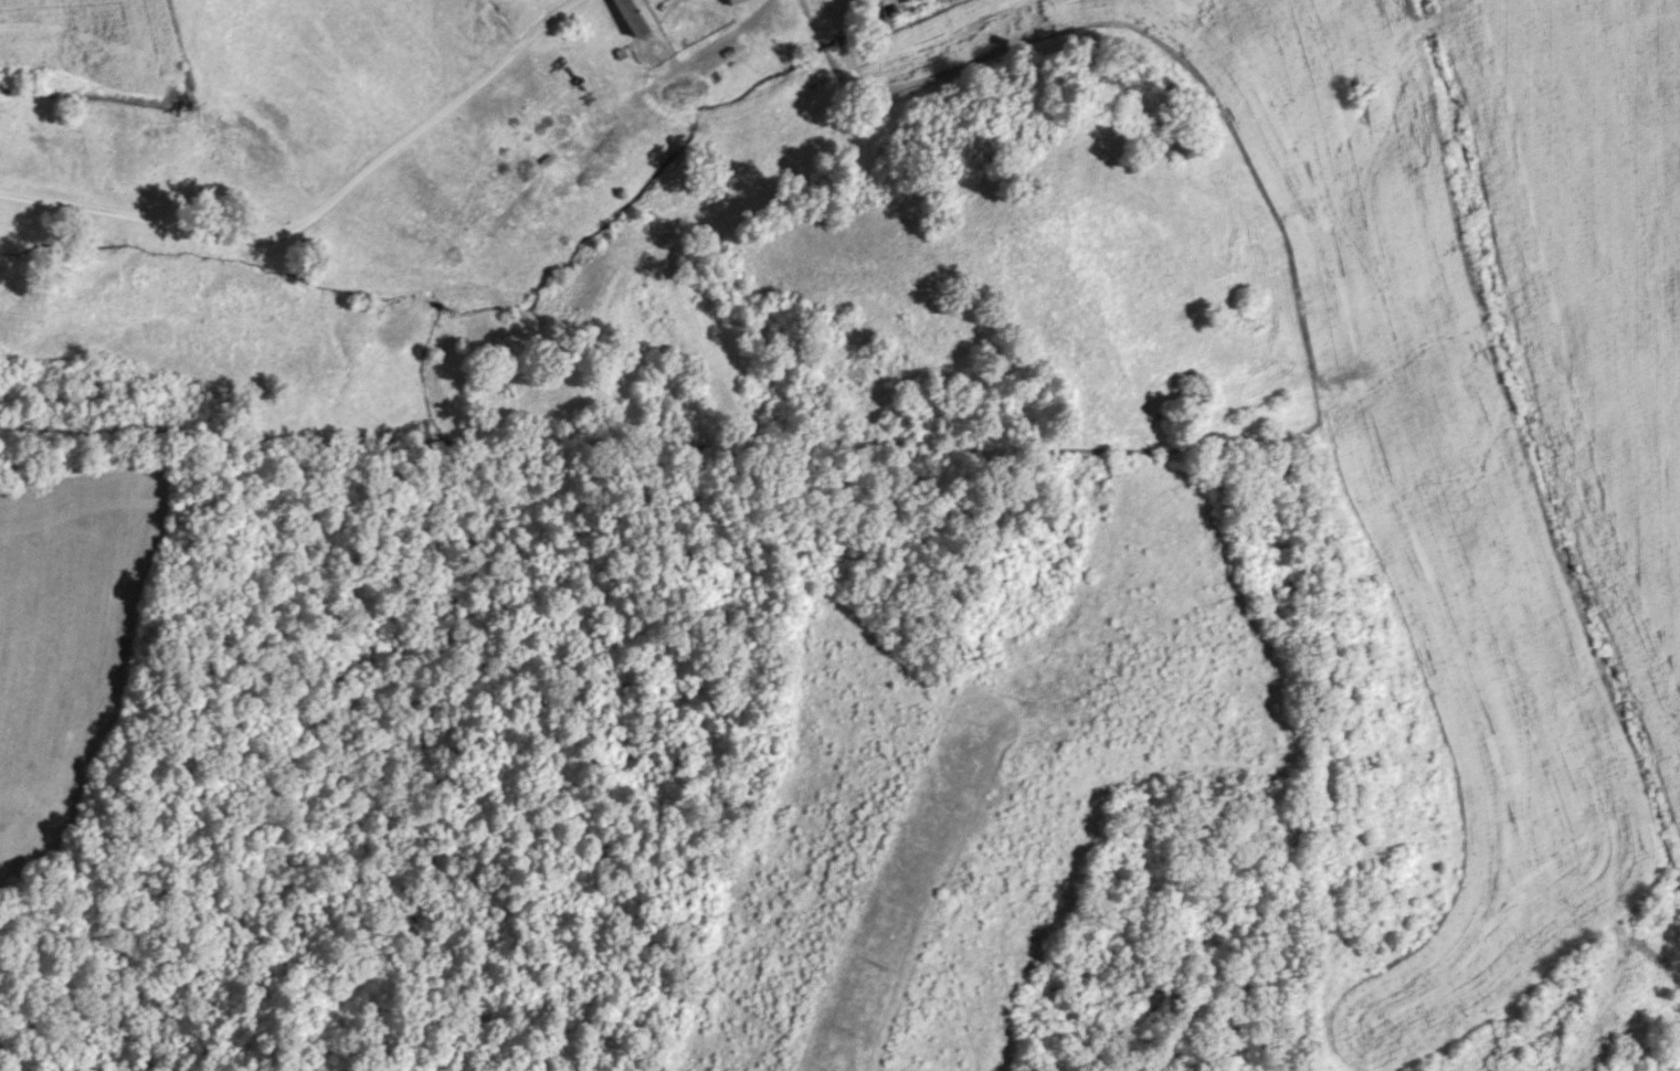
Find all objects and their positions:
building: (730, 1)
building: (632, 14)
road: (319, 210)
crop: (1597, 286)

